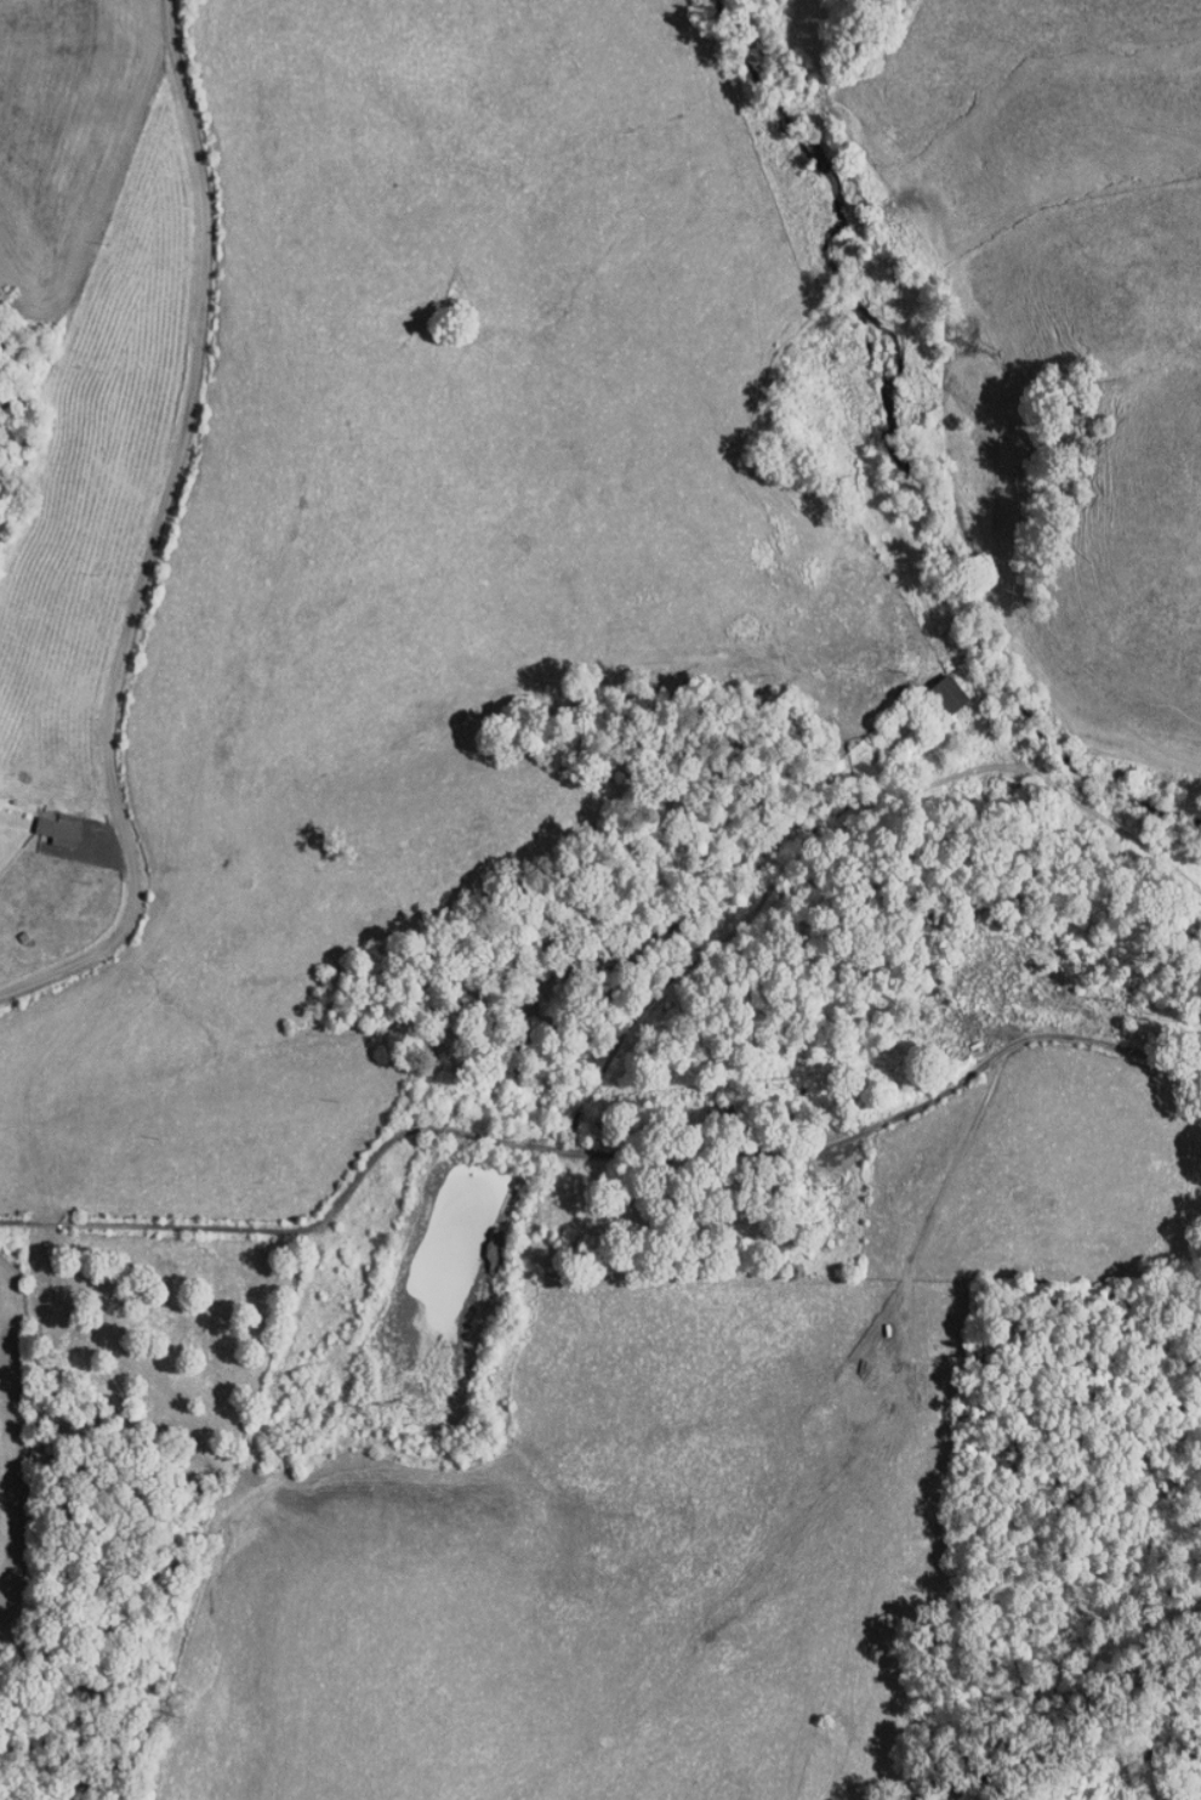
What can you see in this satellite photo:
road: (143, 526)
building: (933, 685)
building: (44, 823)

